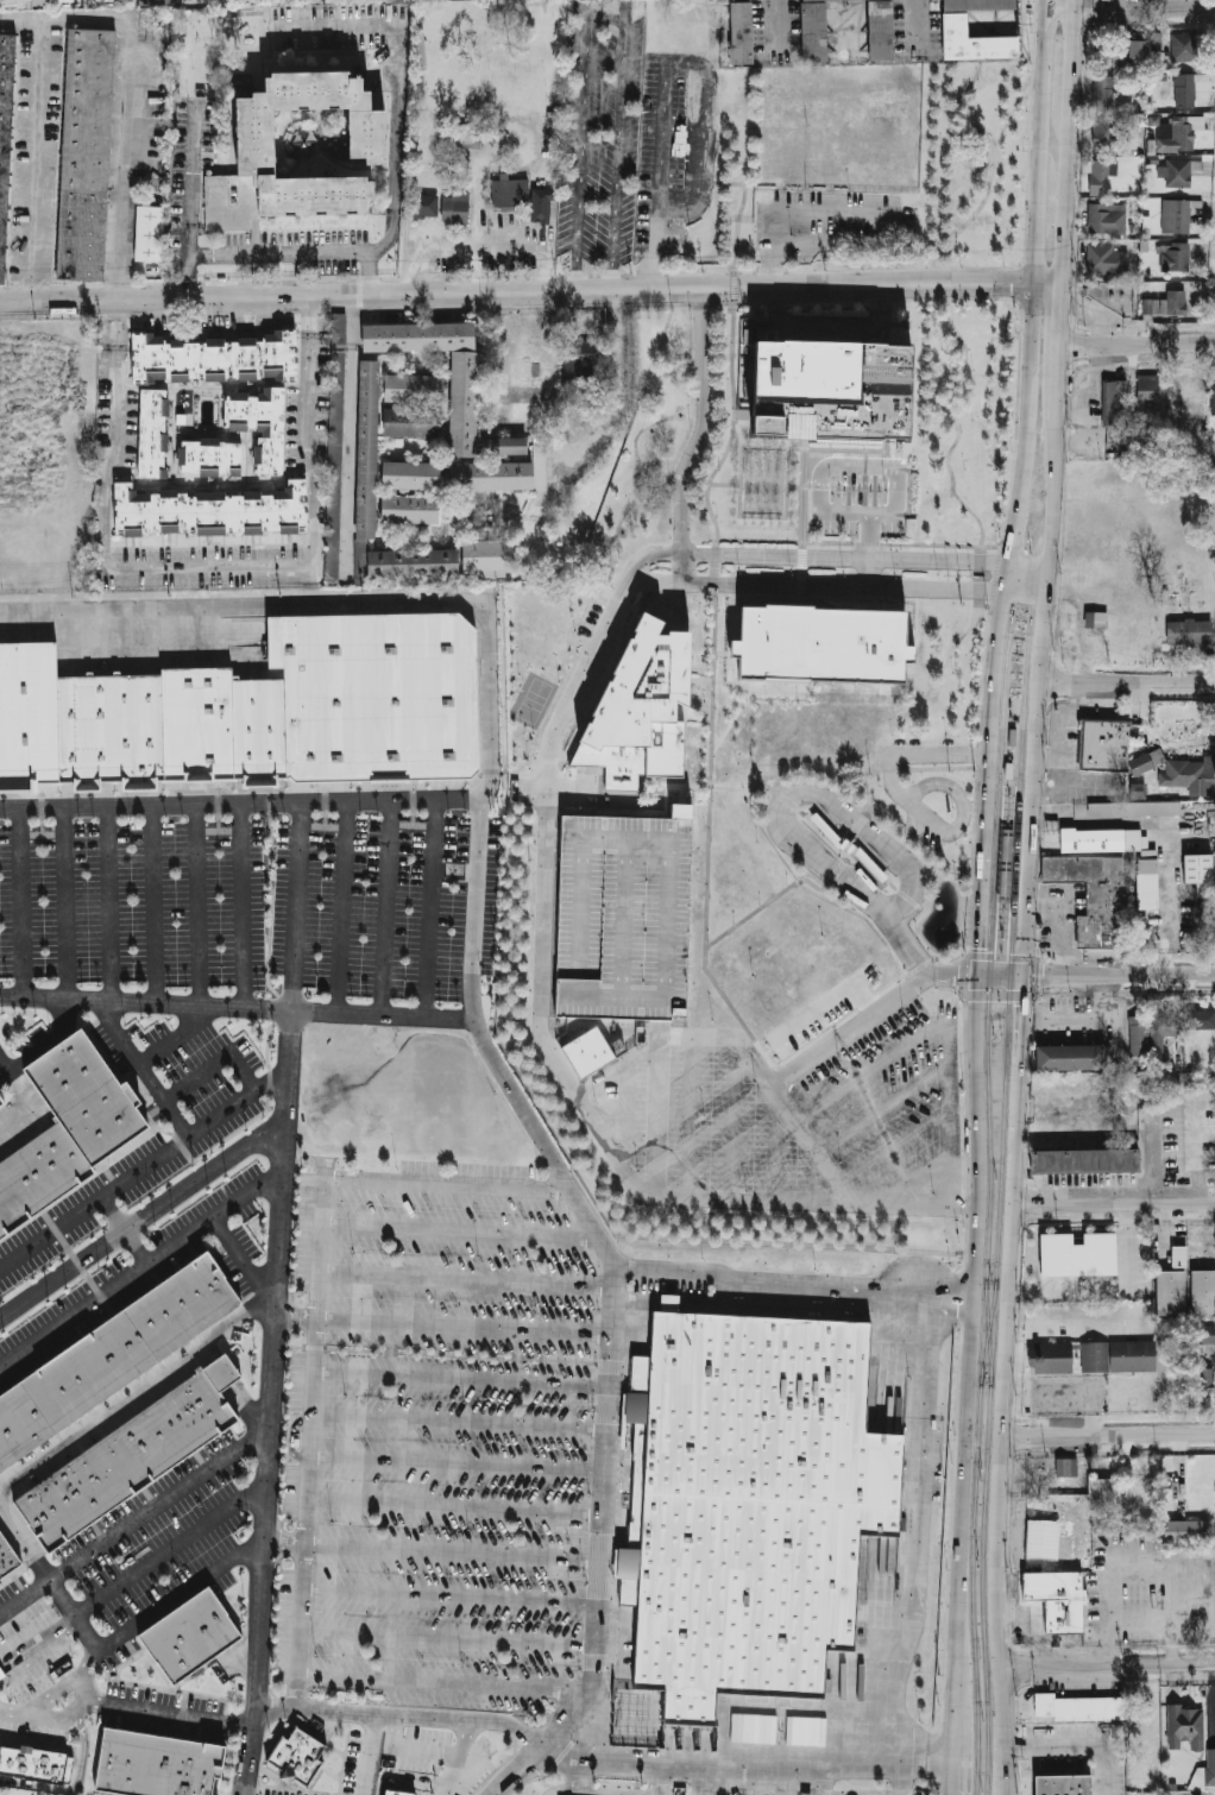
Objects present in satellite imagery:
building: (126, 0)
building: (166, 1)
building: (25, 2)
building: (146, 2)
road: (1049, 2)
building: (977, 5)
road: (1132, 5)
road: (607, 15)
road: (917, 19)
road: (64, 21)
road: (775, 25)
building: (877, 30)
building: (812, 31)
building: (742, 33)
building: (976, 43)
building: (1138, 43)
building: (1184, 46)
building: (1104, 53)
road: (397, 90)
building: (1184, 90)
building: (1103, 93)
building: (911, 101)
building: (5, 130)
road: (706, 130)
building: (1104, 130)
building: (1183, 131)
building: (256, 132)
road: (665, 132)
parking lot: (662, 134)
building: (468, 136)
parking lot: (600, 136)
road: (1070, 141)
road: (1043, 147)
building: (84, 155)
road: (122, 163)
park: (974, 163)
road: (36, 164)
building: (899, 164)
road: (189, 174)
building: (1177, 174)
building: (1100, 177)
building: (509, 193)
building: (540, 204)
building: (421, 206)
building: (454, 208)
road: (798, 210)
building: (1177, 216)
building: (1107, 219)
building: (152, 233)
building: (257, 235)
road: (273, 251)
road: (654, 251)
building: (1176, 257)
building: (1107, 259)
road: (946, 270)
road: (380, 279)
road: (1050, 286)
road: (360, 292)
building: (1116, 295)
road: (518, 296)
road: (918, 298)
building: (1164, 304)
road: (308, 317)
flagpole: (225, 319)
flagpole: (218, 320)
road: (889, 323)
road: (117, 325)
road: (829, 326)
building: (415, 335)
road: (1138, 340)
road: (503, 355)
building: (216, 359)
building: (578, 360)
road: (1058, 374)
building: (410, 386)
building: (1147, 389)
building: (821, 392)
building: (1188, 397)
building: (1213, 399)
building: (1115, 401)
building: (460, 403)
building: (335, 405)
road: (619, 409)
road: (948, 412)
park: (961, 417)
building: (410, 420)
building: (259, 426)
building: (151, 433)
road: (347, 435)
road: (697, 439)
road: (634, 441)
building: (502, 445)
road: (839, 448)
building: (365, 449)
building: (209, 458)
road: (113, 459)
building: (408, 474)
building: (489, 475)
road: (644, 481)
road: (950, 481)
road: (793, 485)
road: (800, 489)
parking lot: (857, 495)
building: (408, 508)
building: (210, 510)
road: (783, 514)
road: (1016, 533)
road: (858, 542)
road: (310, 550)
building: (484, 555)
road: (647, 558)
road: (845, 558)
building: (409, 561)
road: (1030, 566)
road: (799, 567)
road: (868, 572)
flagpole: (949, 575)
flagpole: (959, 575)
flagpole: (971, 577)
road: (653, 581)
road: (843, 585)
road: (1026, 592)
road: (245, 607)
railway: (1012, 613)
road: (716, 616)
railway: (1031, 616)
building: (1093, 618)
park: (539, 628)
building: (1189, 631)
building: (823, 643)
road: (1125, 680)
park: (533, 700)
railway: (1003, 705)
building: (257, 707)
railway: (1024, 707)
building: (641, 710)
road: (732, 718)
road: (1033, 720)
building: (1106, 744)
road: (940, 754)
building: (1146, 758)
road: (907, 768)
building: (1185, 774)
road: (893, 775)
road: (766, 785)
railway: (1015, 785)
road: (812, 792)
road: (564, 794)
road: (684, 795)
road: (787, 800)
road: (341, 804)
building: (1133, 808)
road: (871, 810)
road: (666, 812)
road: (802, 812)
road: (963, 812)
road: (987, 813)
road: (1104, 815)
road: (909, 819)
road: (860, 824)
parking lot: (924, 829)
road: (550, 839)
building: (1104, 839)
road: (848, 848)
building: (1146, 865)
building: (1201, 869)
road: (836, 873)
road: (893, 886)
building: (1095, 895)
road: (907, 897)
road: (109, 902)
road: (153, 902)
road: (20, 903)
road: (63, 903)
road: (197, 905)
road: (243, 905)
road: (766, 905)
road: (296, 906)
parking lot: (241, 907)
road: (342, 907)
road: (384, 907)
road: (430, 908)
road: (476, 911)
road: (981, 913)
building: (623, 917)
parking lot: (623, 917)
road: (904, 943)
traffic signals: (980, 950)
road: (1001, 956)
road: (1000, 958)
road: (956, 962)
road: (544, 963)
road: (953, 975)
traffic signals: (955, 976)
road: (999, 977)
traffic signals: (1046, 977)
road: (1118, 978)
road: (864, 1000)
road: (235, 1006)
traffic signals: (1020, 1007)
road: (818, 1013)
road: (1079, 1018)
building: (1201, 1019)
parking lot: (824, 1024)
road: (850, 1027)
building: (1165, 1028)
road: (174, 1032)
road: (660, 1033)
railway: (988, 1033)
railway: (1007, 1035)
road: (1019, 1035)
building: (1139, 1035)
road: (701, 1037)
road: (45, 1043)
building: (587, 1052)
building: (1075, 1057)
road: (864, 1073)
parking lot: (889, 1101)
building: (1, 1104)
road: (951, 1106)
road: (886, 1108)
road: (175, 1116)
road: (624, 1116)
road: (691, 1116)
road: (734, 1117)
road: (657, 1120)
building: (64, 1128)
parking lot: (707, 1129)
road: (1014, 1135)
road: (540, 1139)
road: (808, 1139)
road: (898, 1145)
road: (776, 1147)
building: (1088, 1159)
road: (128, 1177)
road: (915, 1179)
road: (441, 1184)
road: (247, 1192)
road: (848, 1203)
road: (1113, 1204)
road: (918, 1205)
road: (144, 1215)
road: (455, 1229)
road: (51, 1232)
road: (137, 1246)
road: (1126, 1247)
building: (1077, 1254)
building: (1178, 1256)
road: (153, 1259)
road: (461, 1276)
road: (788, 1283)
road: (1066, 1291)
building: (1173, 1292)
building: (1204, 1292)
building: (669, 1303)
road: (882, 1304)
road: (294, 1315)
road: (459, 1325)
railway: (983, 1330)
railway: (988, 1330)
railway: (988, 1331)
railway: (993, 1331)
building: (1205, 1334)
building: (1078, 1341)
building: (1096, 1350)
building: (1135, 1350)
road: (207, 1352)
building: (1055, 1353)
road: (452, 1354)
building: (111, 1356)
road: (310, 1362)
road: (968, 1365)
road: (221, 1371)
building: (219, 1372)
road: (457, 1380)
building: (1205, 1380)
road: (133, 1391)
road: (244, 1402)
road: (271, 1402)
road: (454, 1424)
road: (1106, 1432)
road: (291, 1437)
parking lot: (454, 1459)
building: (122, 1460)
road: (453, 1463)
building: (1065, 1467)
flagpole: (629, 1485)
road: (995, 1486)
building: (1103, 1488)
road: (452, 1505)
building: (749, 1505)
road: (134, 1513)
road: (920, 1526)
road: (596, 1529)
parking lot: (159, 1532)
building: (1188, 1532)
building: (1044, 1538)
road: (23, 1541)
road: (170, 1548)
road: (429, 1552)
building: (7, 1557)
building: (861, 1576)
building: (0, 1585)
railway: (971, 1588)
railway: (981, 1589)
road: (178, 1594)
road: (446, 1595)
building: (1059, 1598)
parking lot: (1035, 1619)
road: (297, 1625)
road: (34, 1635)
building: (189, 1637)
road: (443, 1637)
building: (12, 1659)
road: (1110, 1665)
road: (96, 1703)
building: (1046, 1703)
building: (1088, 1708)
road: (401, 1715)
building: (1186, 1727)
road: (581, 1734)
road: (1076, 1747)
road: (429, 1750)
road: (635, 1751)
road: (363, 1753)
building: (298, 1756)
building: (37, 1763)
building: (153, 1765)
road: (452, 1768)
road: (743, 1769)
building: (1207, 1771)
road: (899, 1775)
road: (955, 1775)
road: (416, 1776)
road: (821, 1778)
road: (74, 1781)
road: (503, 1782)
road: (529, 1782)
road: (655, 1782)
road: (380, 1784)
road: (575, 1784)
road: (712, 1784)
building: (1063, 1784)
road: (447, 1789)
building: (398, 1791)
road: (581, 1794)
building: (805, 1794)
road: (1184, 1794)

